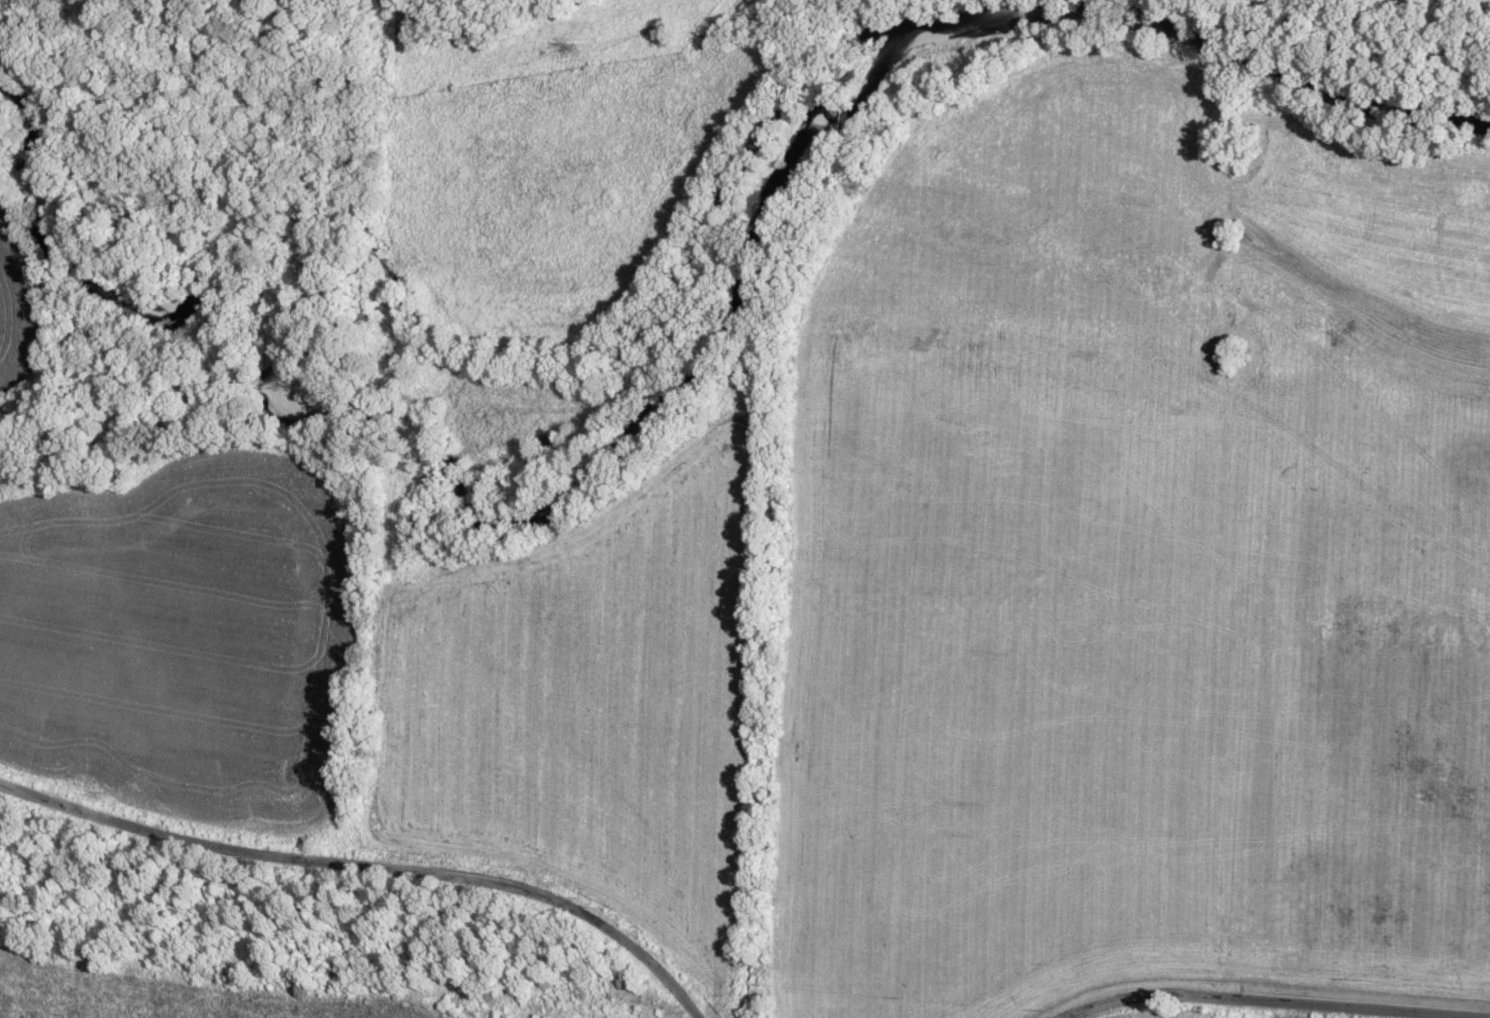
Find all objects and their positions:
road: (367, 864)
road: (1259, 998)

